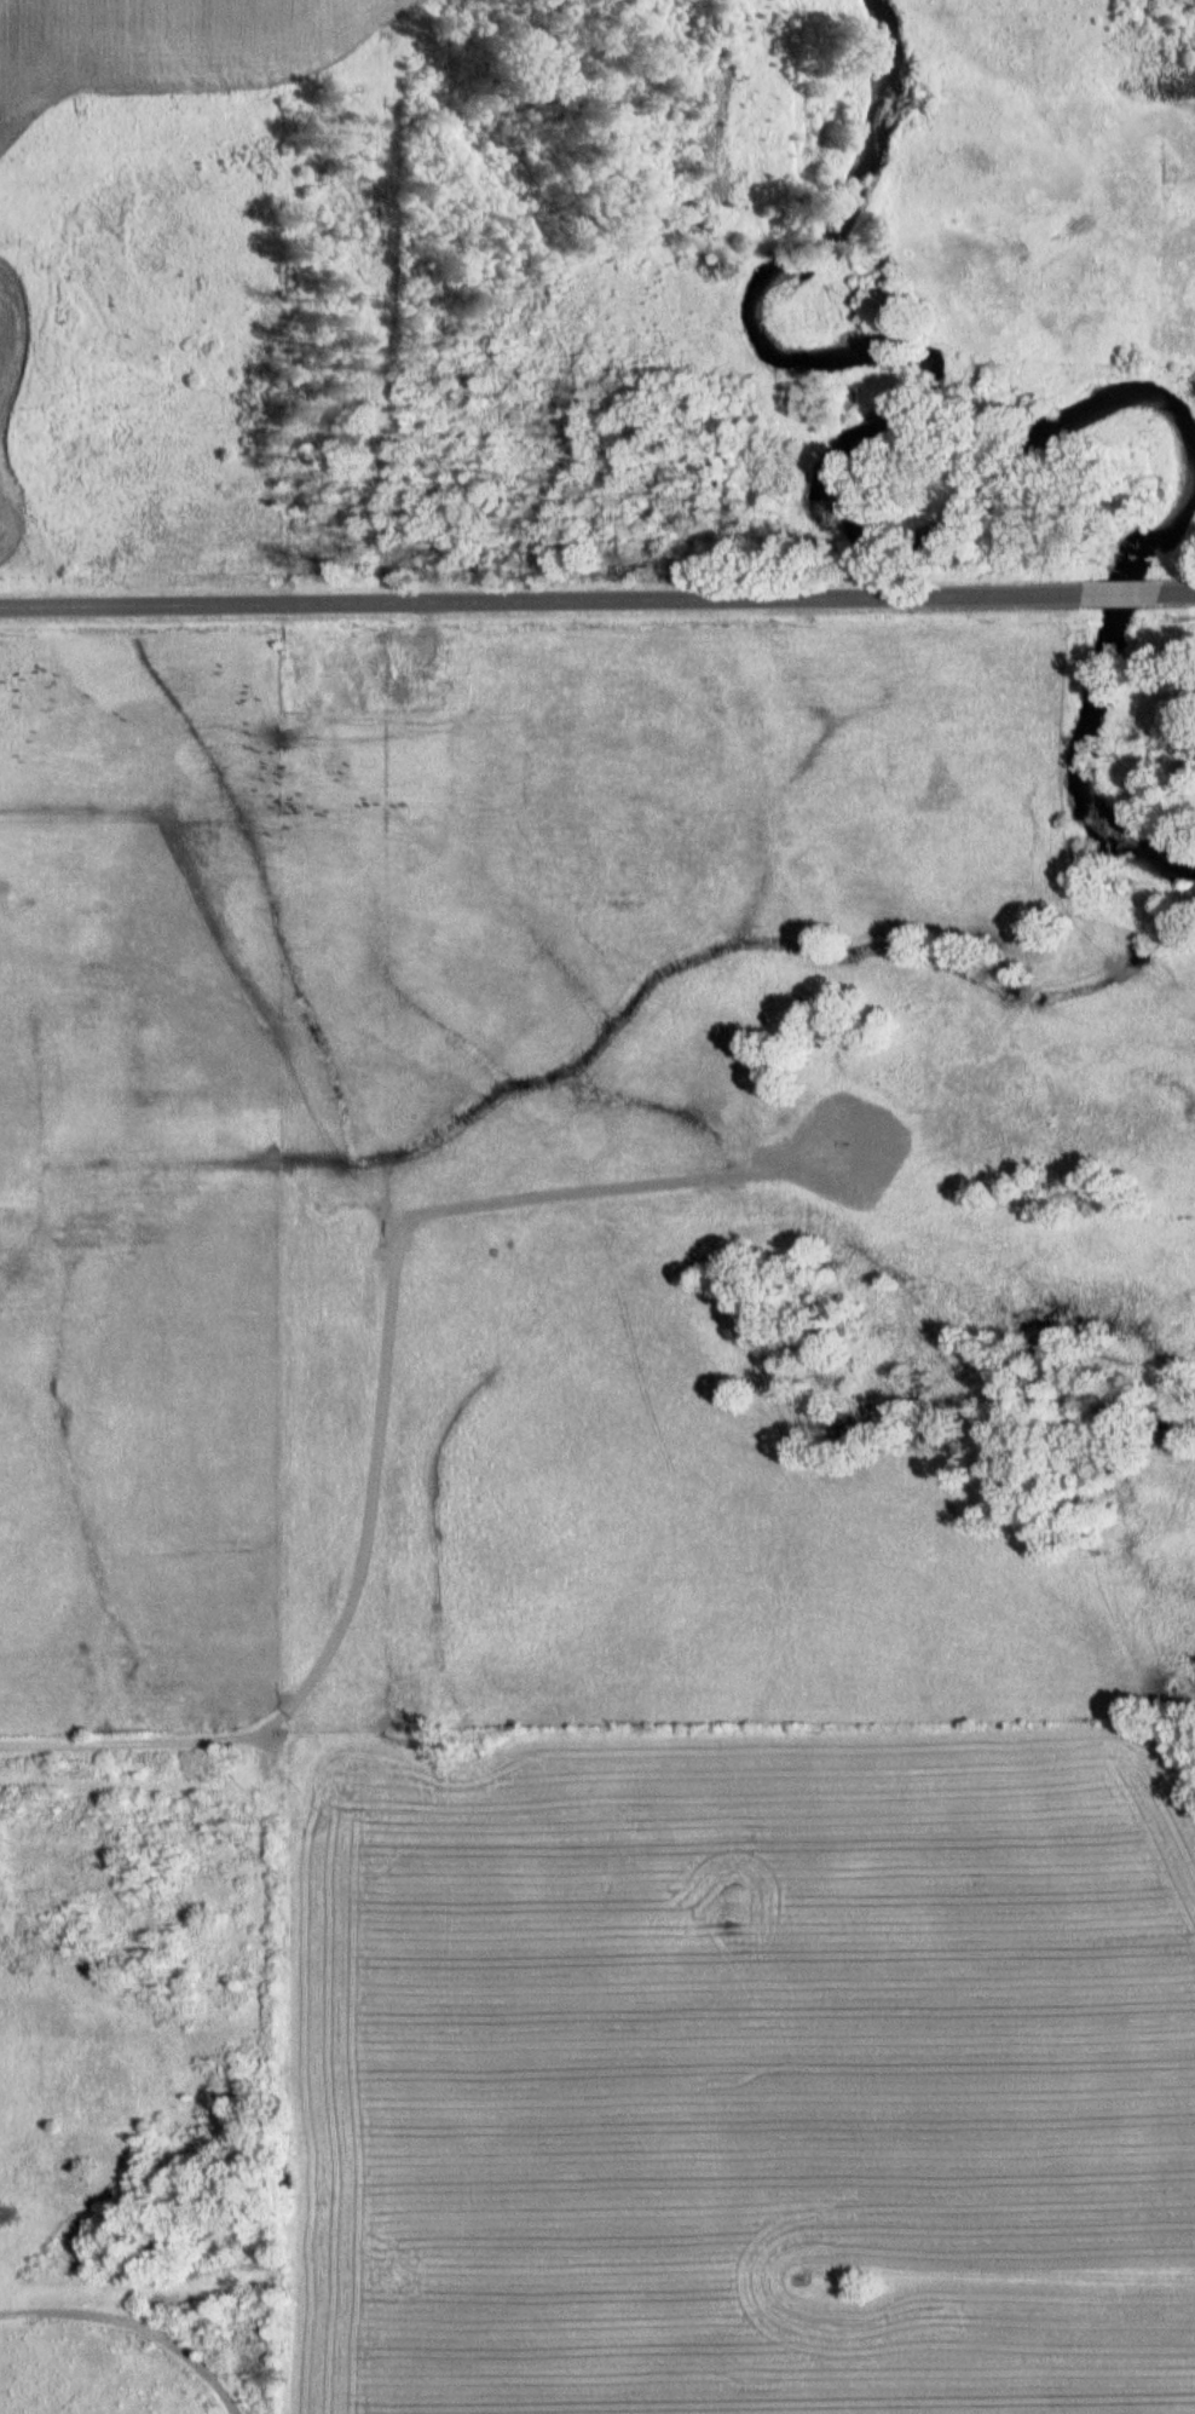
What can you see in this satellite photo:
river: (925, 530)
road: (1177, 592)
road: (1090, 593)
road: (1119, 593)
road: (1149, 593)
road: (539, 595)

